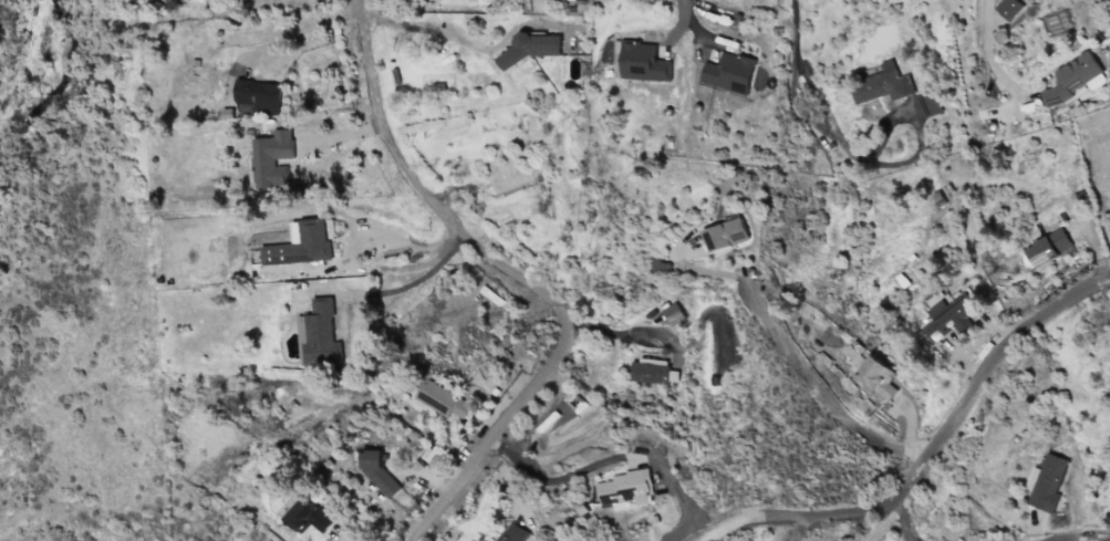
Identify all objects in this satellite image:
building: (1007, 8)
road: (680, 21)
road: (692, 21)
road: (302, 27)
road: (442, 42)
building: (535, 46)
road: (988, 61)
building: (642, 63)
building: (728, 72)
building: (1070, 77)
building: (882, 85)
building: (259, 95)
road: (792, 97)
building: (929, 104)
road: (917, 128)
building: (270, 158)
road: (421, 189)
building: (724, 235)
building: (301, 243)
building: (1048, 247)
road: (408, 284)
building: (672, 313)
building: (947, 319)
road: (636, 324)
building: (320, 334)
building: (652, 372)
building: (874, 375)
road: (822, 389)
road: (975, 389)
building: (442, 399)
road: (500, 434)
road: (615, 458)
building: (1046, 482)
building: (625, 488)
road: (802, 510)
building: (305, 516)
road: (889, 519)
building: (510, 532)
road: (913, 539)
road: (1109, 540)

